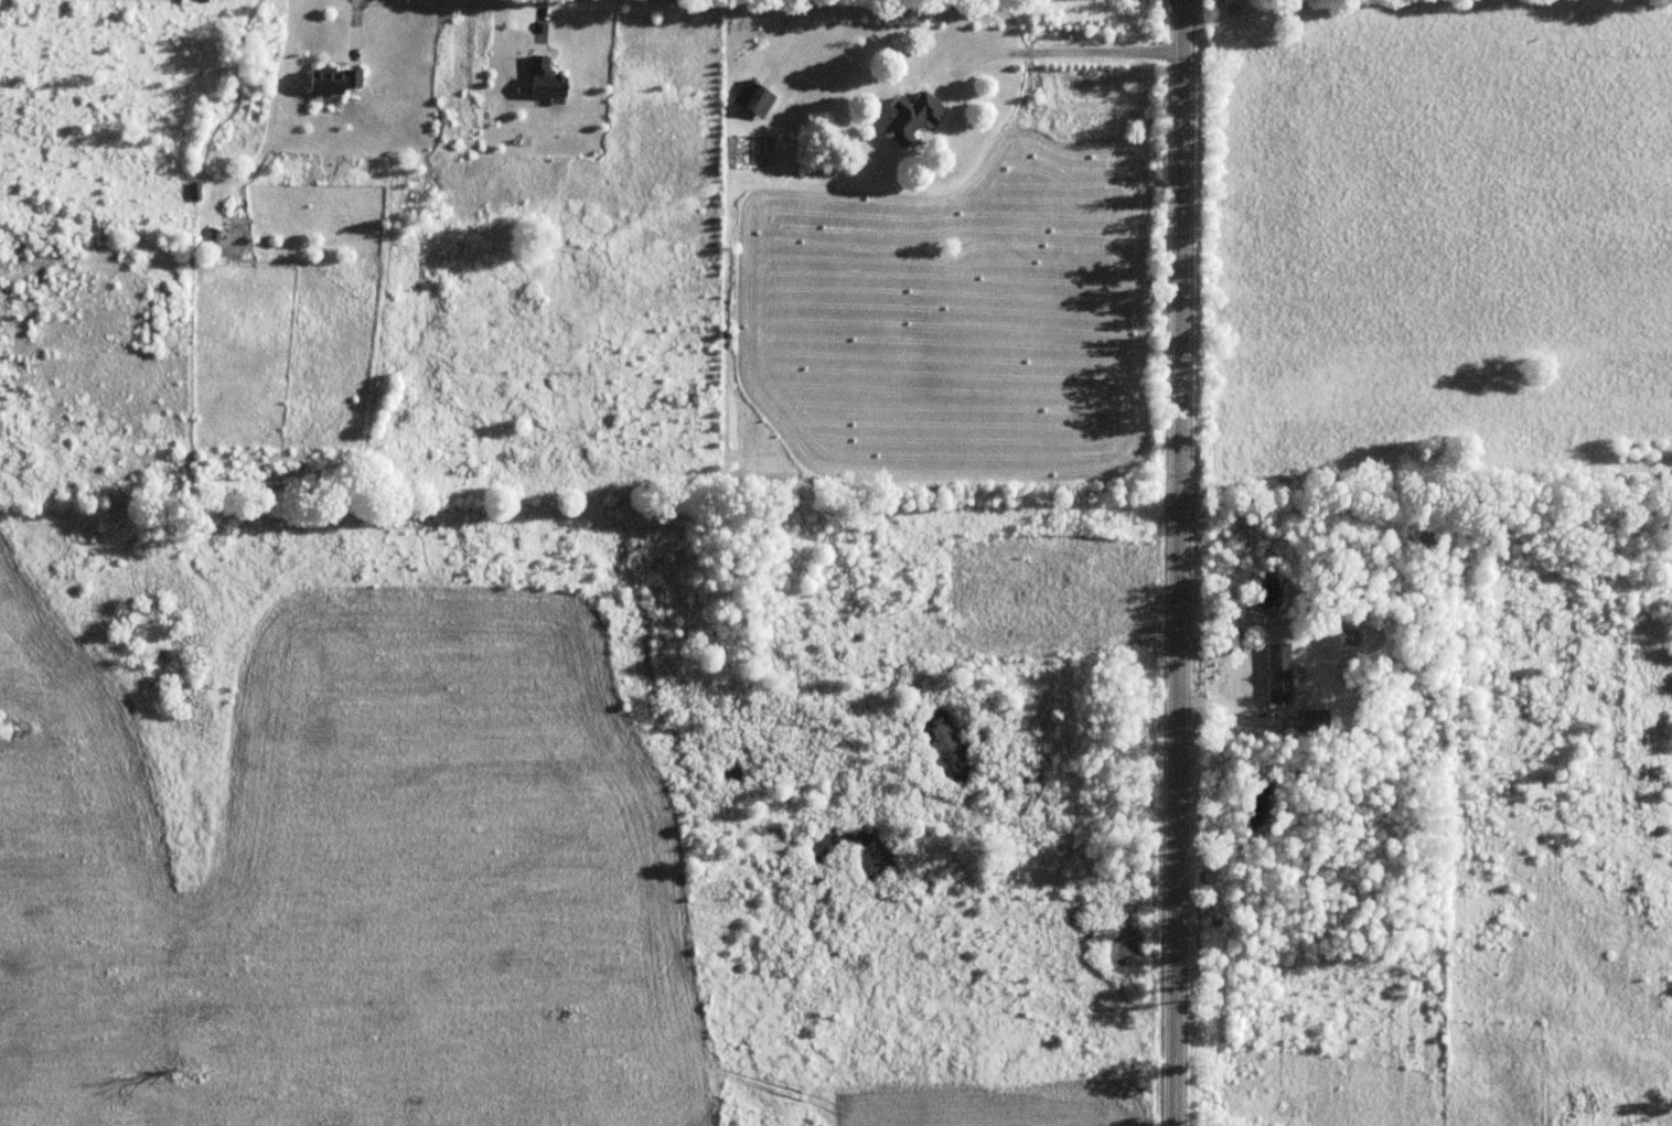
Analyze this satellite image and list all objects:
road: (1058, 49)
building: (547, 79)
building: (334, 81)
building: (757, 98)
building: (914, 117)
road: (1181, 562)
building: (1280, 672)
building: (1315, 718)

